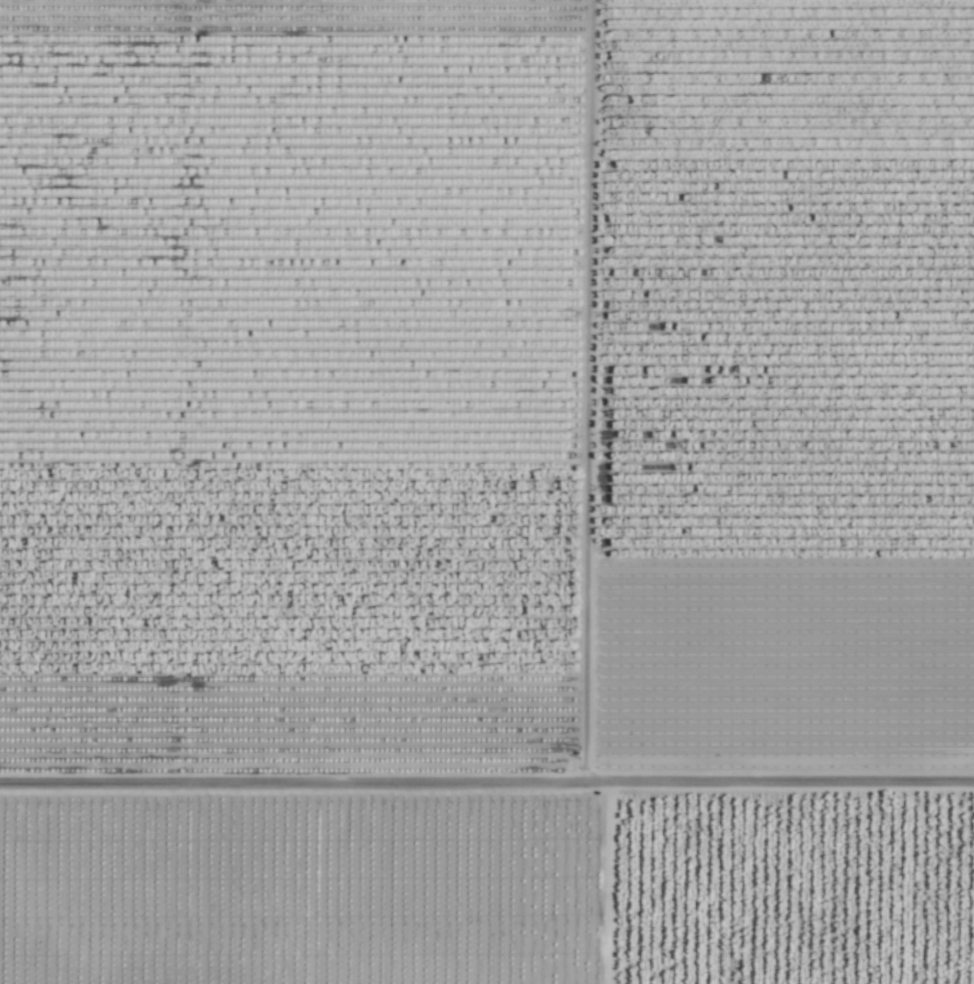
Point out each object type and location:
crop: (487, 492)
road: (487, 785)

